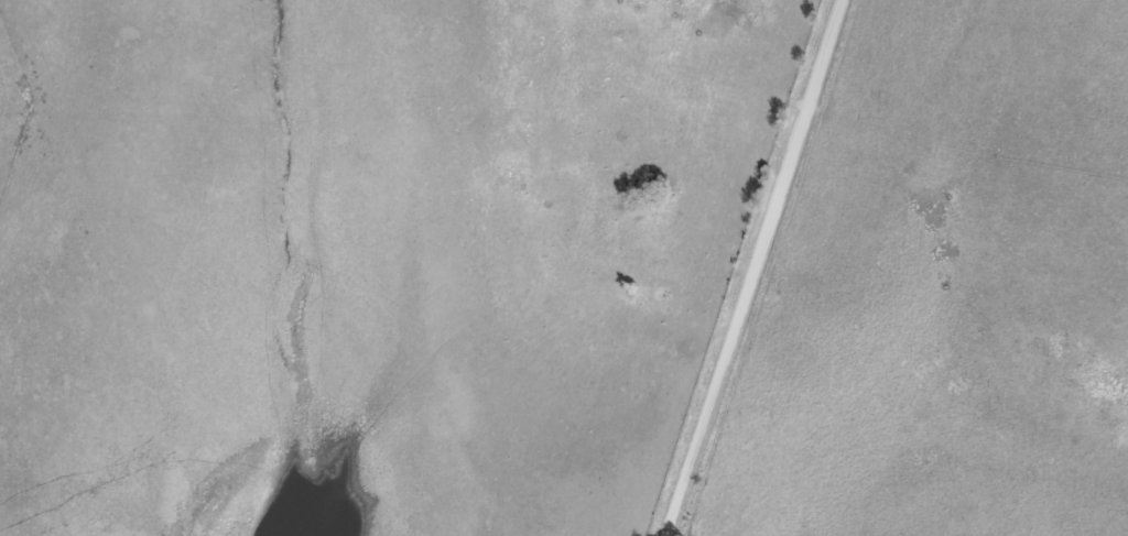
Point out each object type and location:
road: (755, 267)

